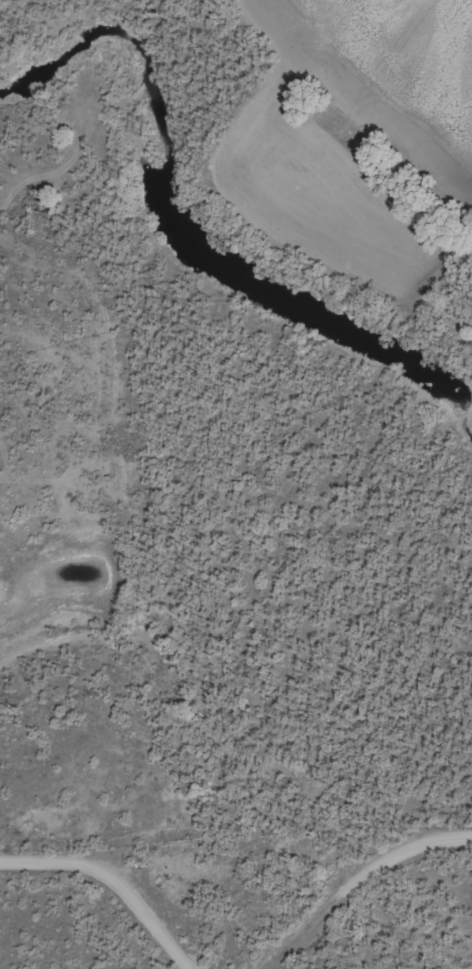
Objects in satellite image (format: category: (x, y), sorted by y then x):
road: (338, 899)
road: (76, 908)

